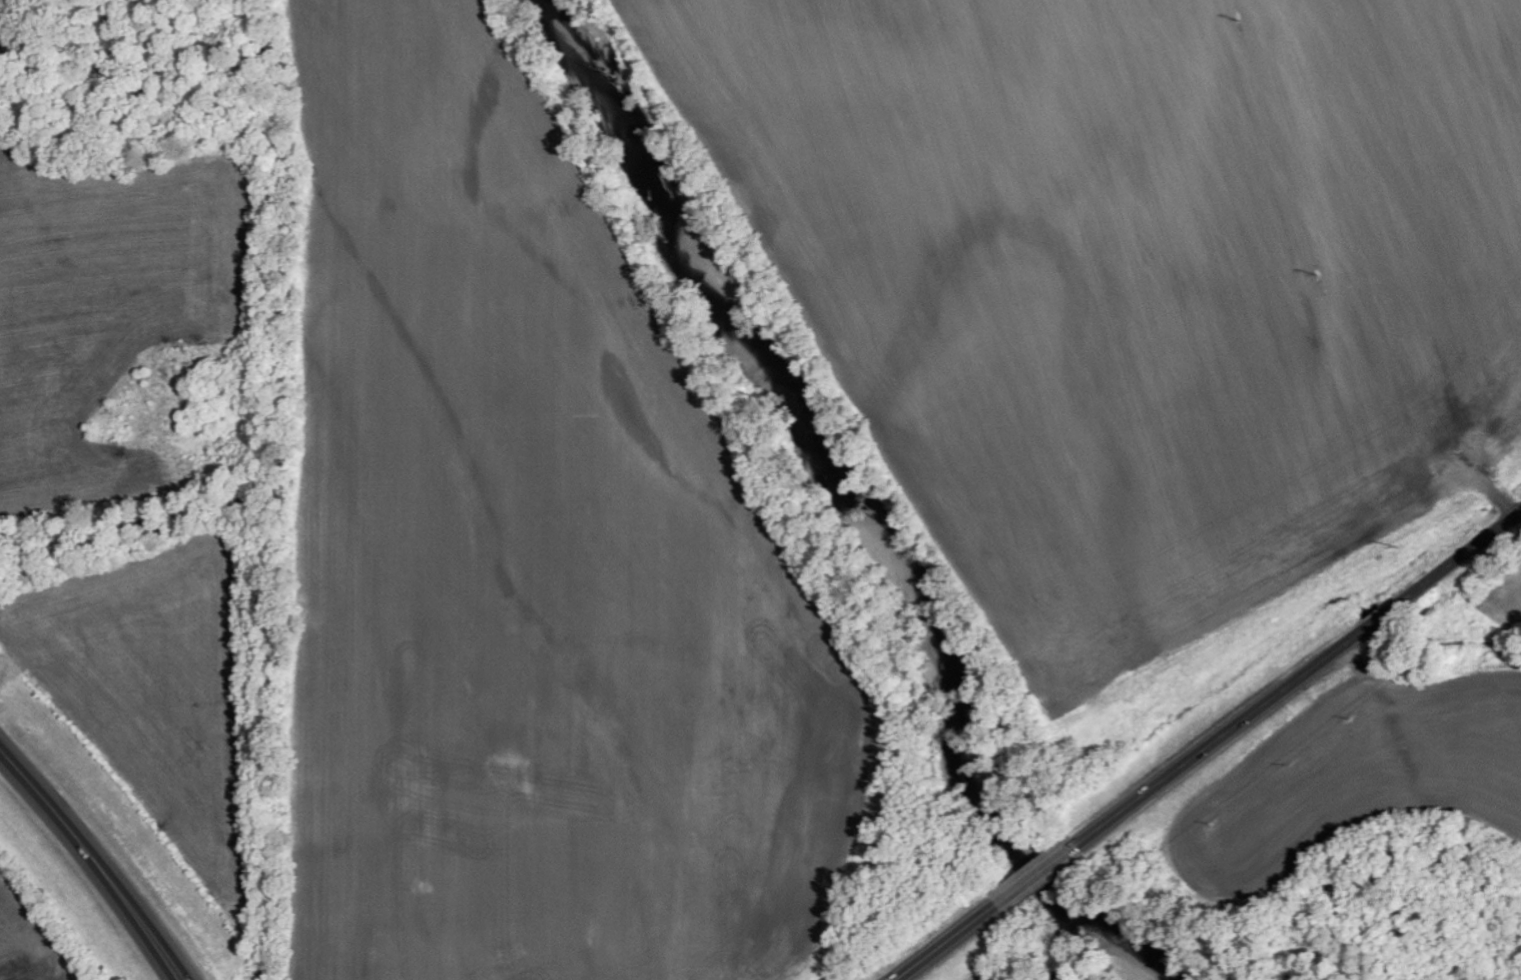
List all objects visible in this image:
road: (1300, 679)
road: (96, 860)
road: (1039, 875)
road: (949, 942)

